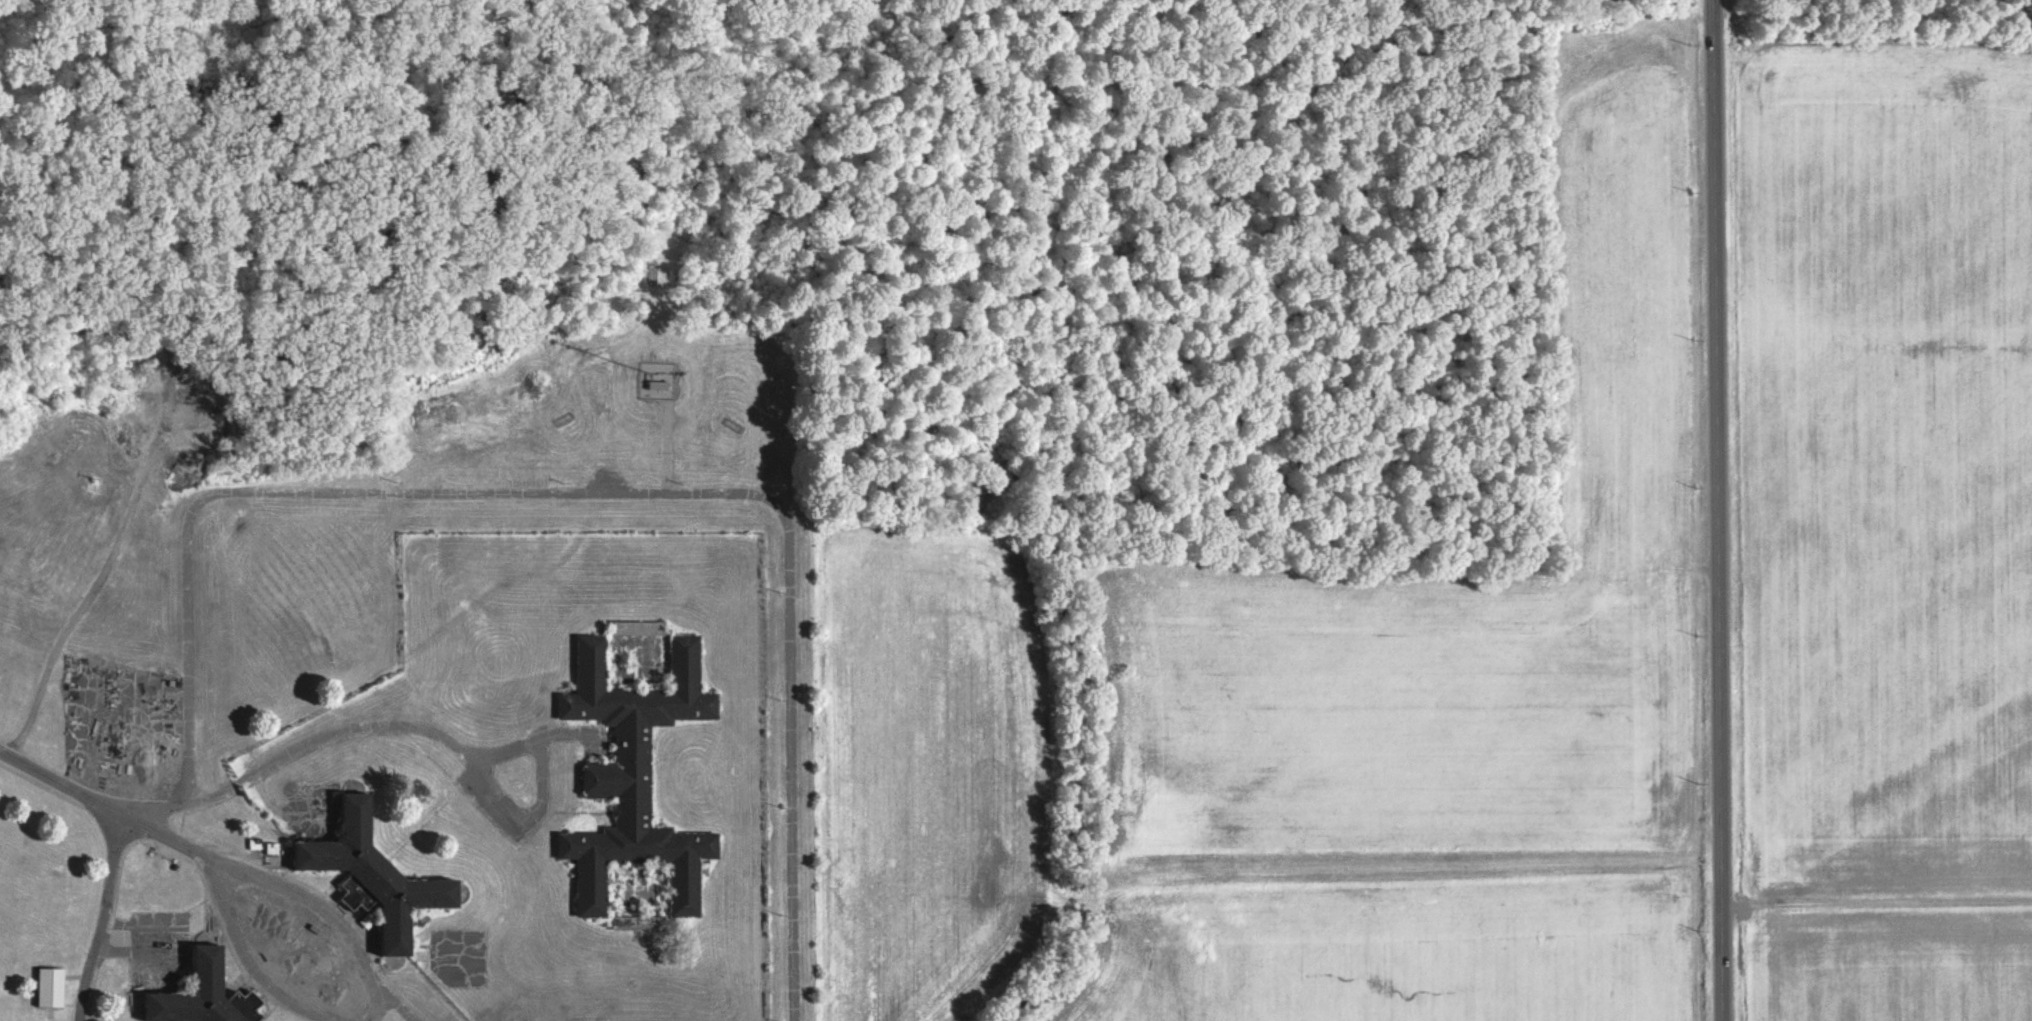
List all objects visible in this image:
building: (660, 385)
road: (1715, 510)
building: (641, 628)
road: (297, 751)
building: (630, 785)
road: (105, 809)
road: (529, 827)
road: (233, 870)
building: (373, 879)
road: (100, 919)
building: (49, 987)
building: (202, 994)

